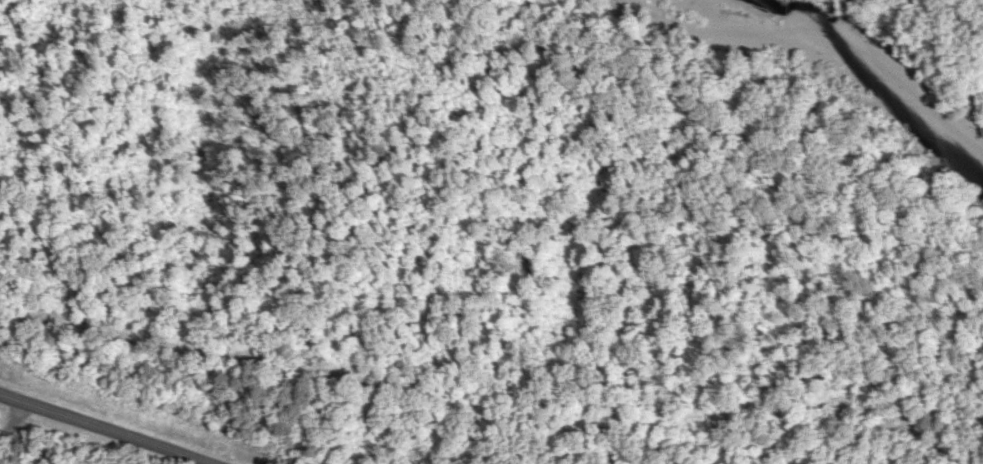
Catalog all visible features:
river: (794, 37)
road: (109, 429)

